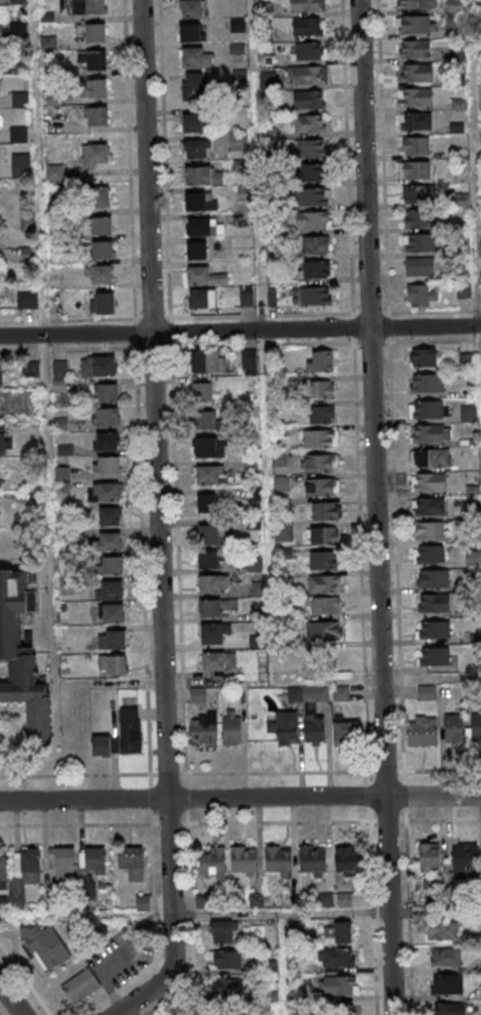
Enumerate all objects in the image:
building: (416, 4)
building: (307, 5)
building: (454, 6)
building: (89, 7)
building: (191, 8)
building: (416, 24)
building: (309, 26)
building: (93, 32)
building: (192, 32)
building: (414, 49)
building: (310, 50)
building: (196, 56)
building: (96, 61)
building: (416, 73)
building: (307, 74)
building: (194, 85)
building: (97, 89)
building: (54, 95)
building: (415, 97)
building: (309, 99)
building: (98, 116)
building: (415, 121)
building: (192, 124)
building: (310, 124)
building: (416, 146)
building: (310, 148)
building: (195, 150)
road: (475, 155)
building: (95, 156)
road: (380, 156)
road: (345, 157)
building: (415, 170)
building: (315, 174)
road: (127, 176)
building: (203, 176)
building: (419, 194)
building: (314, 197)
building: (98, 198)
building: (200, 201)
building: (417, 218)
building: (313, 221)
building: (102, 227)
building: (203, 227)
building: (419, 242)
building: (318, 244)
road: (165, 250)
building: (197, 250)
building: (102, 251)
building: (420, 266)
building: (317, 269)
building: (100, 275)
building: (205, 276)
building: (423, 295)
building: (316, 296)
building: (246, 297)
building: (202, 298)
building: (27, 301)
building: (103, 304)
road: (260, 305)
road: (433, 312)
road: (368, 313)
road: (240, 332)
road: (415, 341)
building: (426, 357)
building: (321, 360)
building: (208, 361)
building: (249, 362)
building: (98, 366)
building: (31, 369)
building: (60, 370)
building: (1, 374)
building: (426, 383)
building: (323, 389)
building: (203, 391)
building: (107, 392)
road: (43, 397)
building: (430, 409)
building: (322, 414)
building: (468, 414)
building: (106, 416)
building: (204, 420)
building: (432, 433)
building: (320, 438)
building: (3, 440)
building: (107, 441)
building: (208, 447)
building: (431, 458)
building: (320, 463)
building: (107, 465)
building: (210, 475)
building: (428, 482)
building: (472, 482)
building: (281, 484)
building: (322, 487)
building: (105, 492)
building: (206, 503)
road: (375, 507)
building: (430, 507)
building: (325, 511)
building: (109, 516)
road: (157, 521)
building: (430, 531)
building: (283, 533)
building: (209, 535)
building: (324, 536)
building: (110, 541)
building: (430, 555)
building: (208, 559)
building: (323, 560)
building: (474, 560)
building: (113, 564)
building: (432, 578)
building: (214, 583)
building: (325, 584)
building: (109, 589)
building: (434, 602)
building: (322, 605)
building: (210, 607)
building: (113, 612)
building: (433, 629)
building: (213, 632)
building: (323, 632)
building: (112, 639)
building: (434, 656)
building: (20, 661)
building: (219, 661)
building: (112, 664)
road: (430, 679)
building: (232, 726)
building: (285, 727)
building: (475, 727)
building: (130, 729)
building: (203, 729)
building: (314, 729)
building: (454, 729)
building: (345, 732)
building: (422, 732)
building: (101, 745)
road: (441, 771)
road: (183, 774)
road: (240, 798)
road: (424, 821)
road: (184, 824)
road: (368, 851)
building: (430, 856)
building: (278, 858)
building: (313, 858)
building: (243, 859)
building: (465, 859)
building: (347, 860)
building: (93, 861)
building: (131, 862)
building: (212, 863)
building: (61, 864)
building: (3, 867)
building: (24, 872)
road: (194, 915)
road: (406, 918)
building: (443, 930)
building: (222, 931)
building: (338, 931)
building: (46, 947)
building: (445, 956)
building: (336, 957)
building: (227, 959)
road: (283, 964)
road: (25, 979)
building: (447, 984)
building: (80, 986)
building: (231, 986)
building: (340, 986)
road: (11, 999)
building: (449, 1009)

